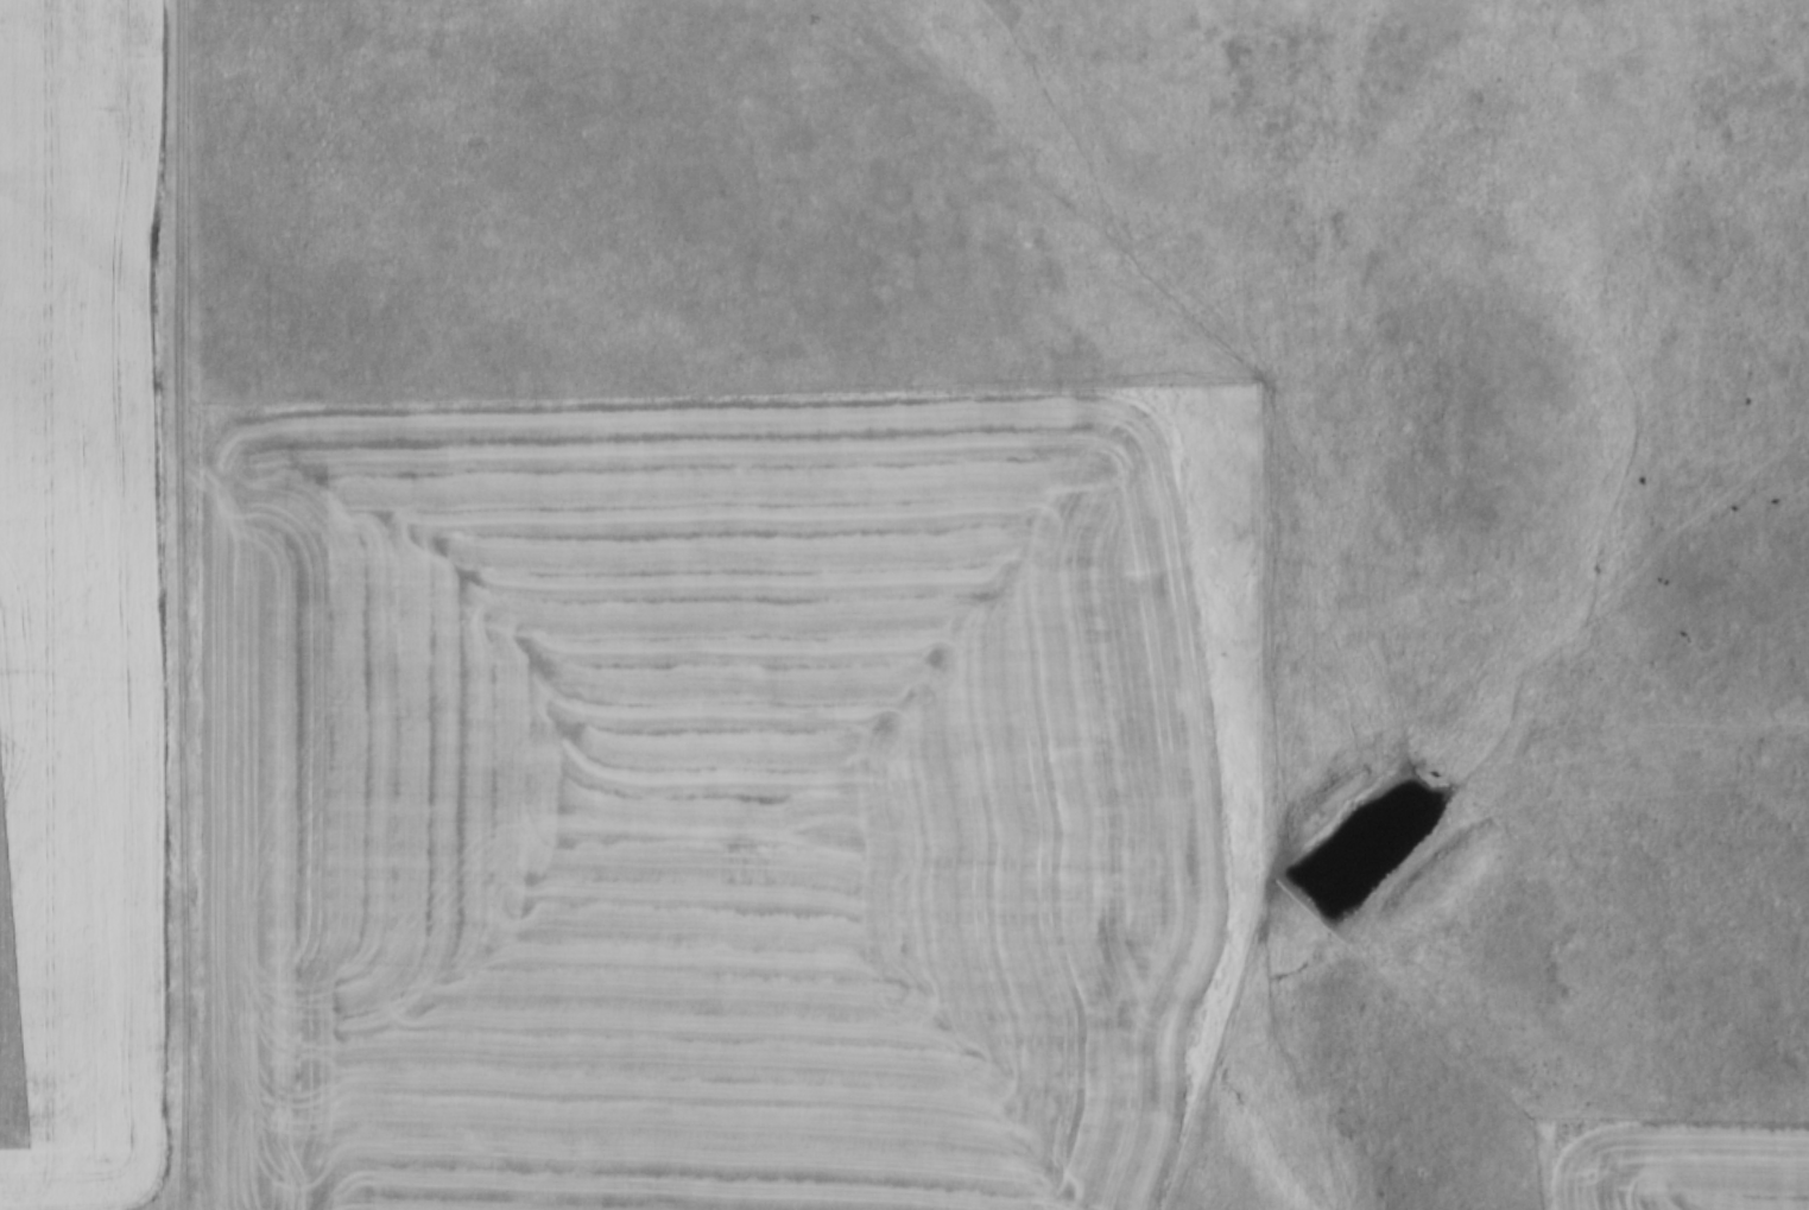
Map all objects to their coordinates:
crop: (74, 603)
crop: (703, 805)
crop: (1683, 1166)

